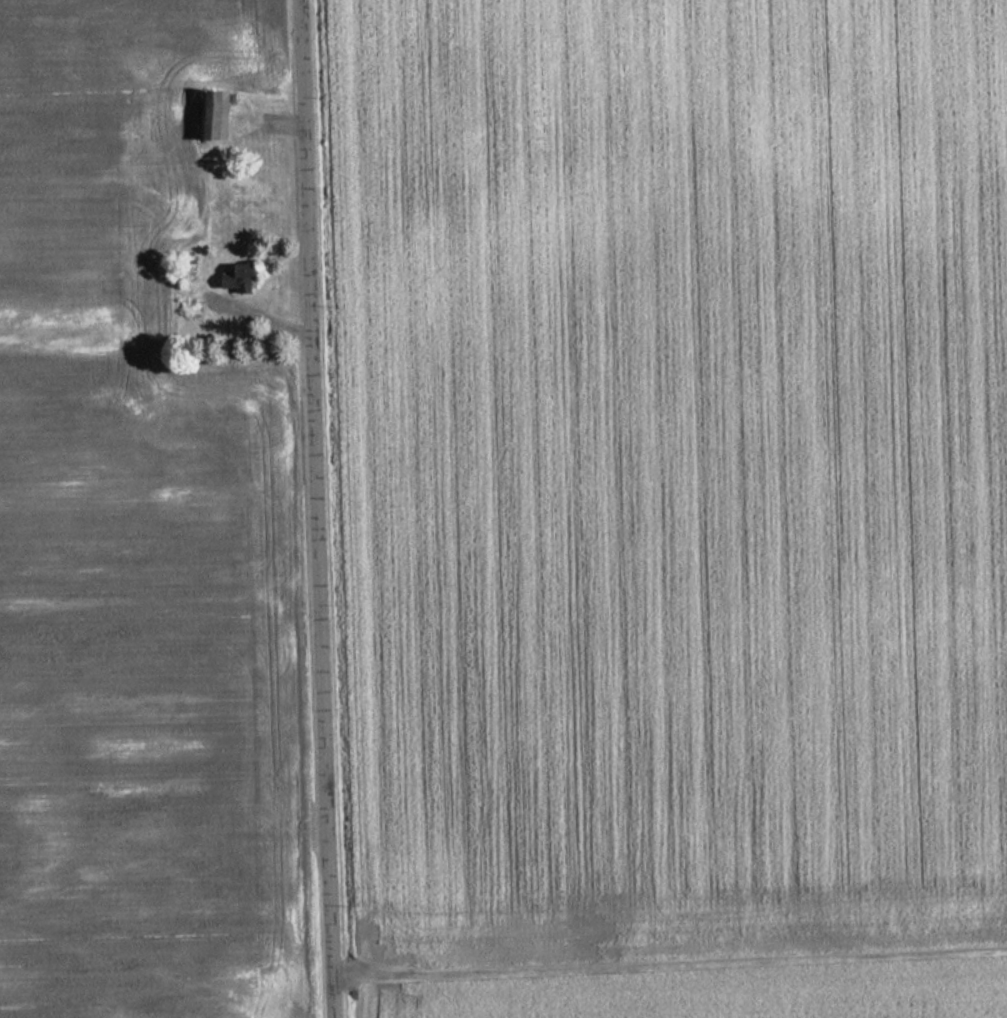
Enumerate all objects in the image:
building: (241, 279)
crop: (671, 470)
road: (308, 509)

